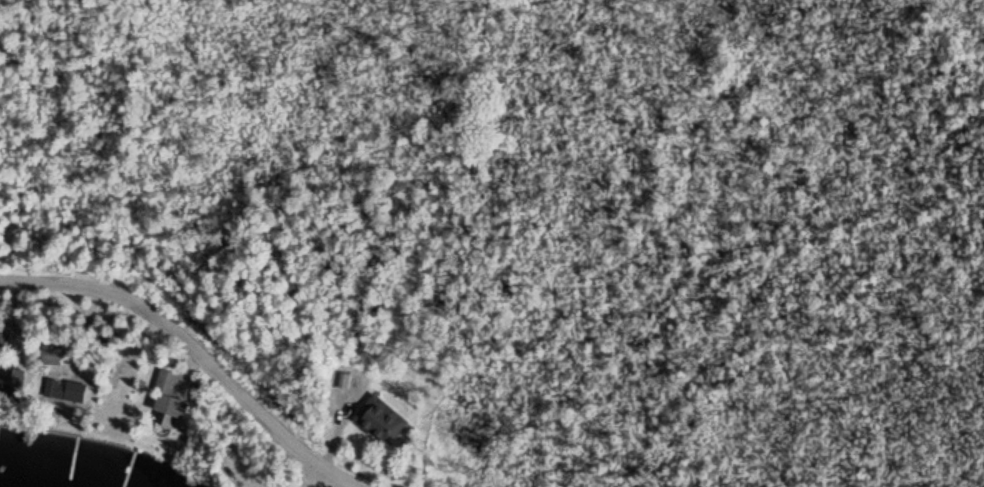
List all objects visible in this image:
road: (495, 43)
road: (194, 348)
building: (52, 353)
building: (10, 382)
building: (172, 395)
building: (385, 418)
parking lot: (242, 471)
road: (311, 476)

